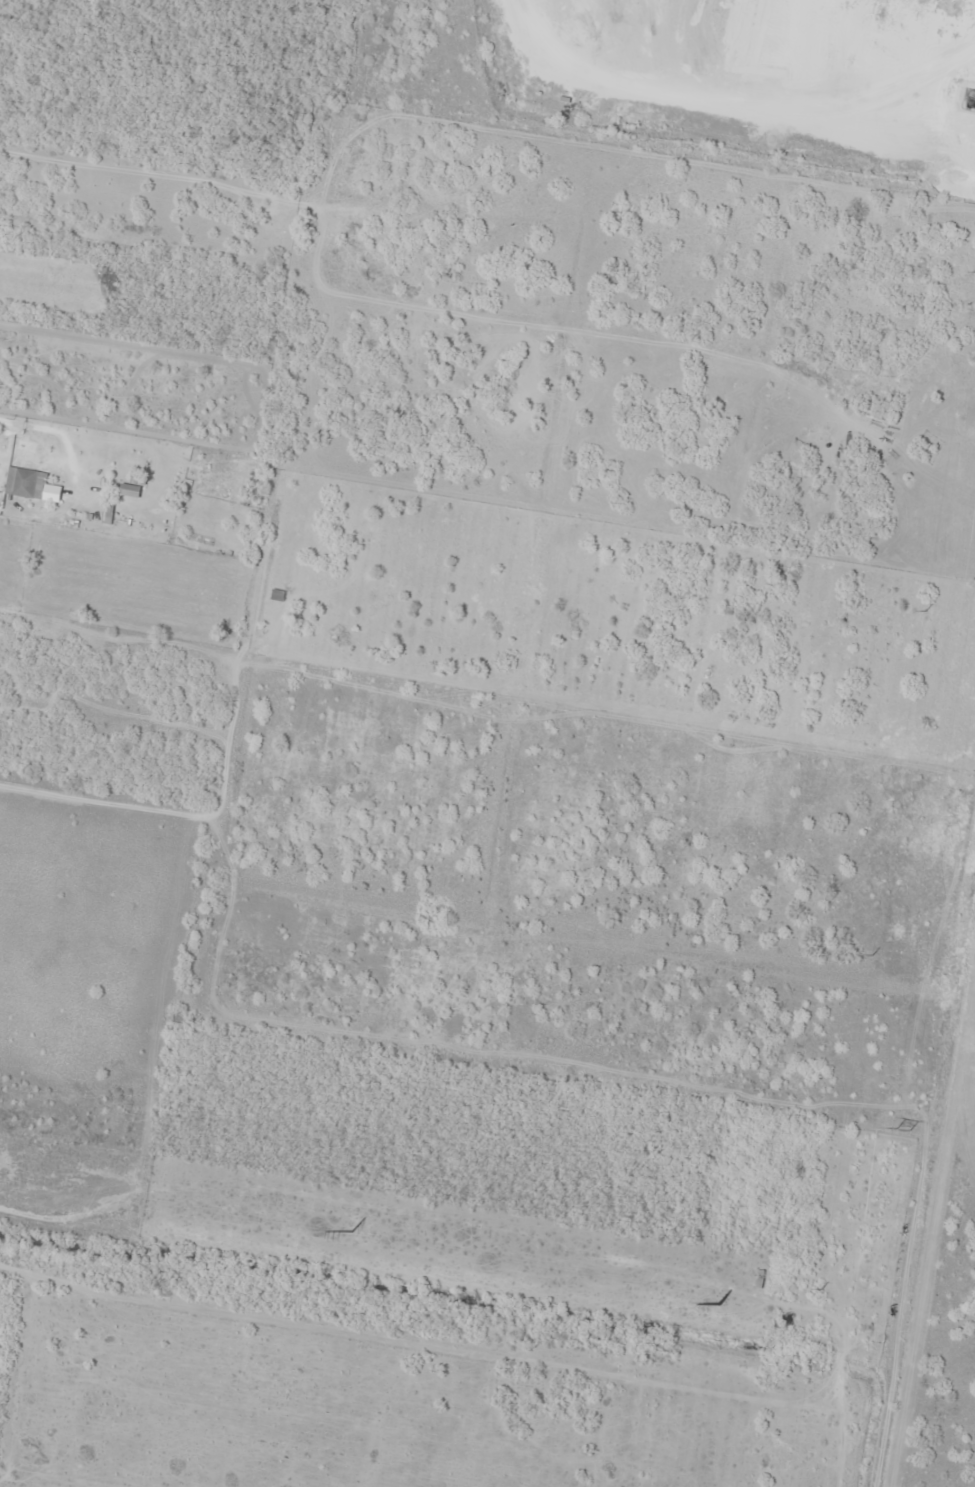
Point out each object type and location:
road: (487, 247)
road: (27, 424)
building: (0, 479)
road: (73, 481)
building: (24, 484)
road: (17, 512)
power tower: (900, 1129)
road: (922, 1173)
power tower: (352, 1231)
power tower: (720, 1305)

